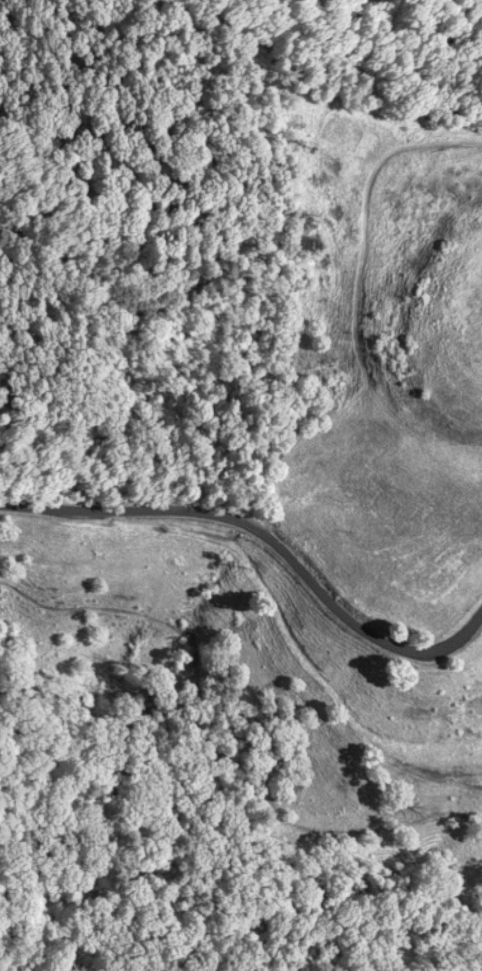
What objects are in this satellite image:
road: (266, 539)

